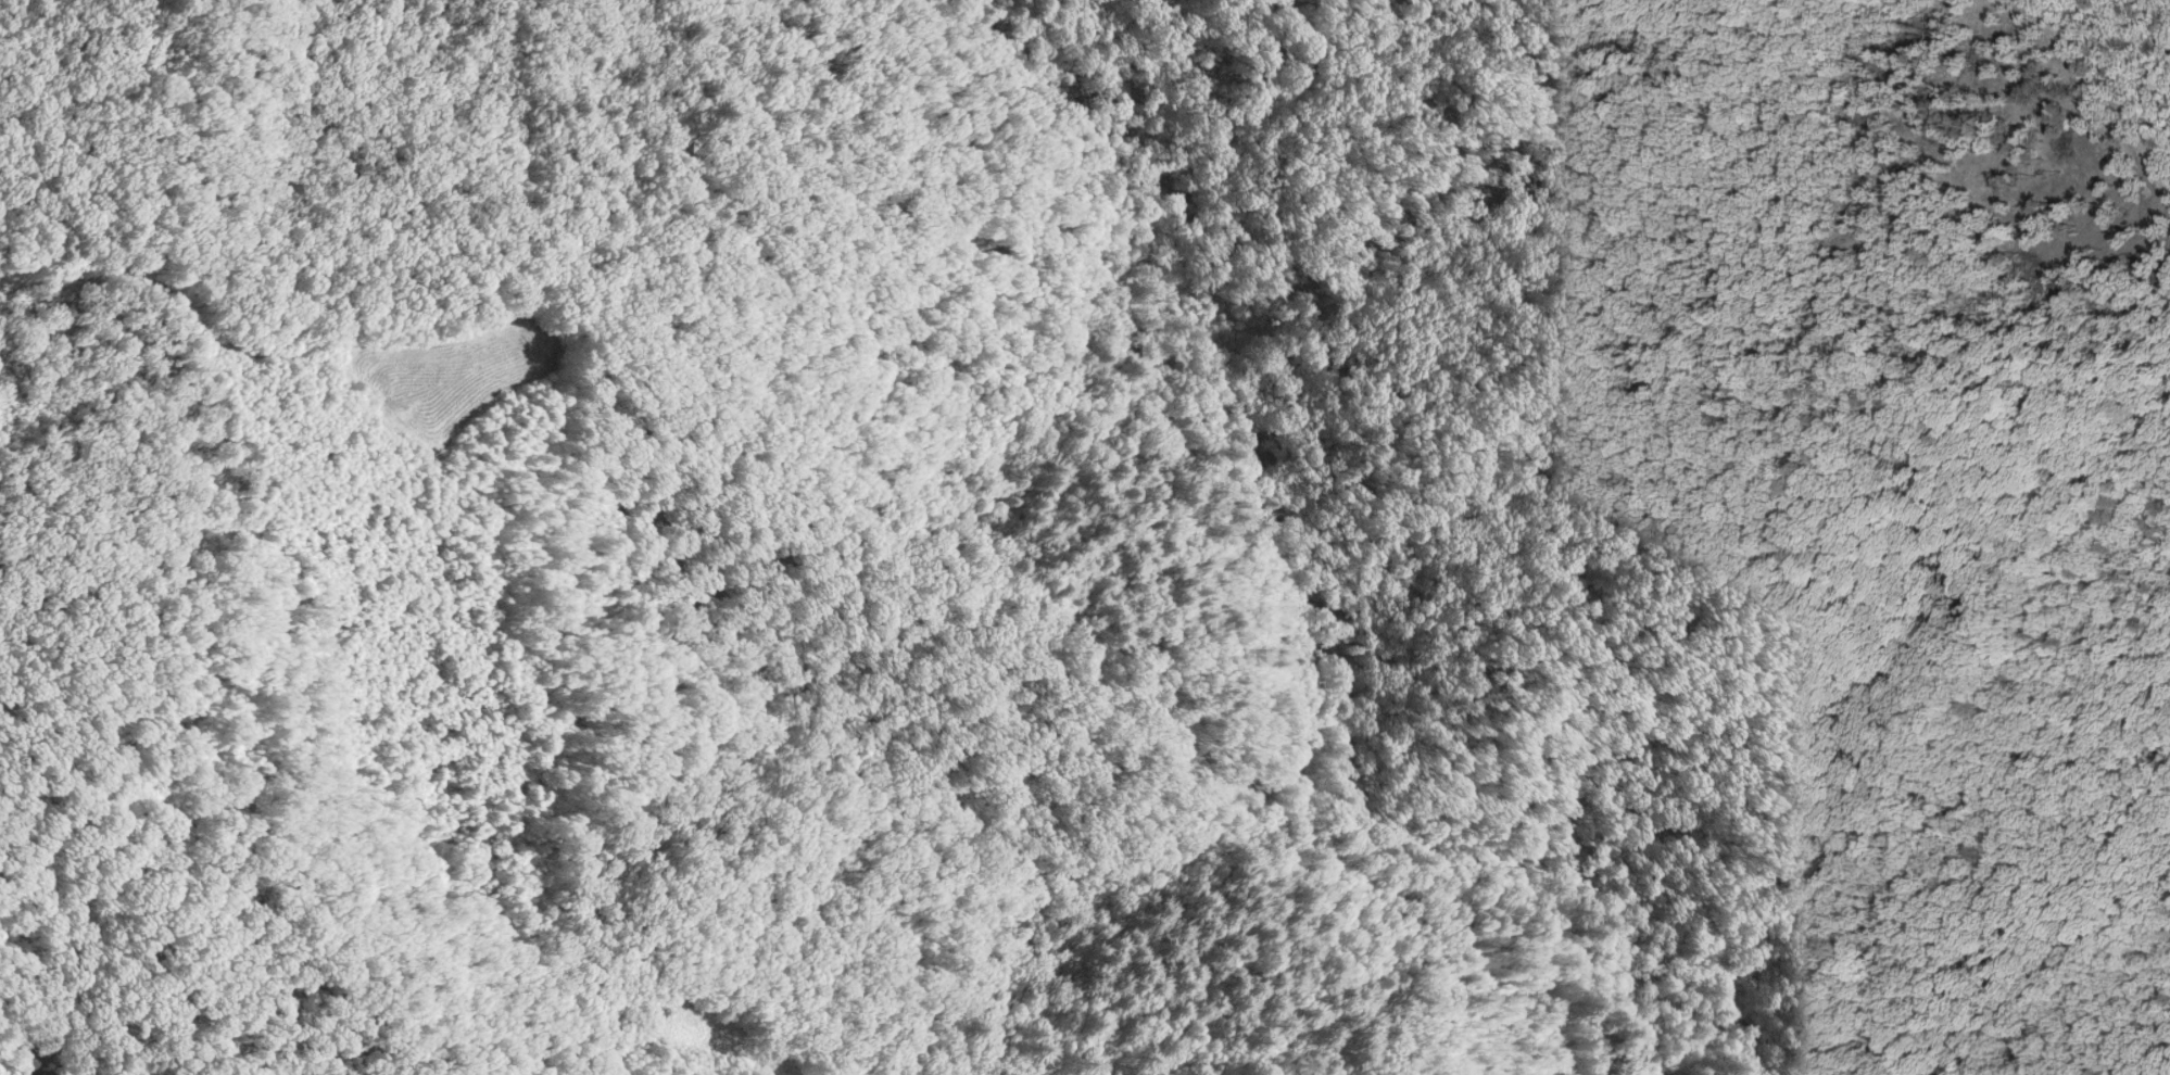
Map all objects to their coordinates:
road: (2096, 109)
road: (1260, 571)
road: (1726, 1019)

